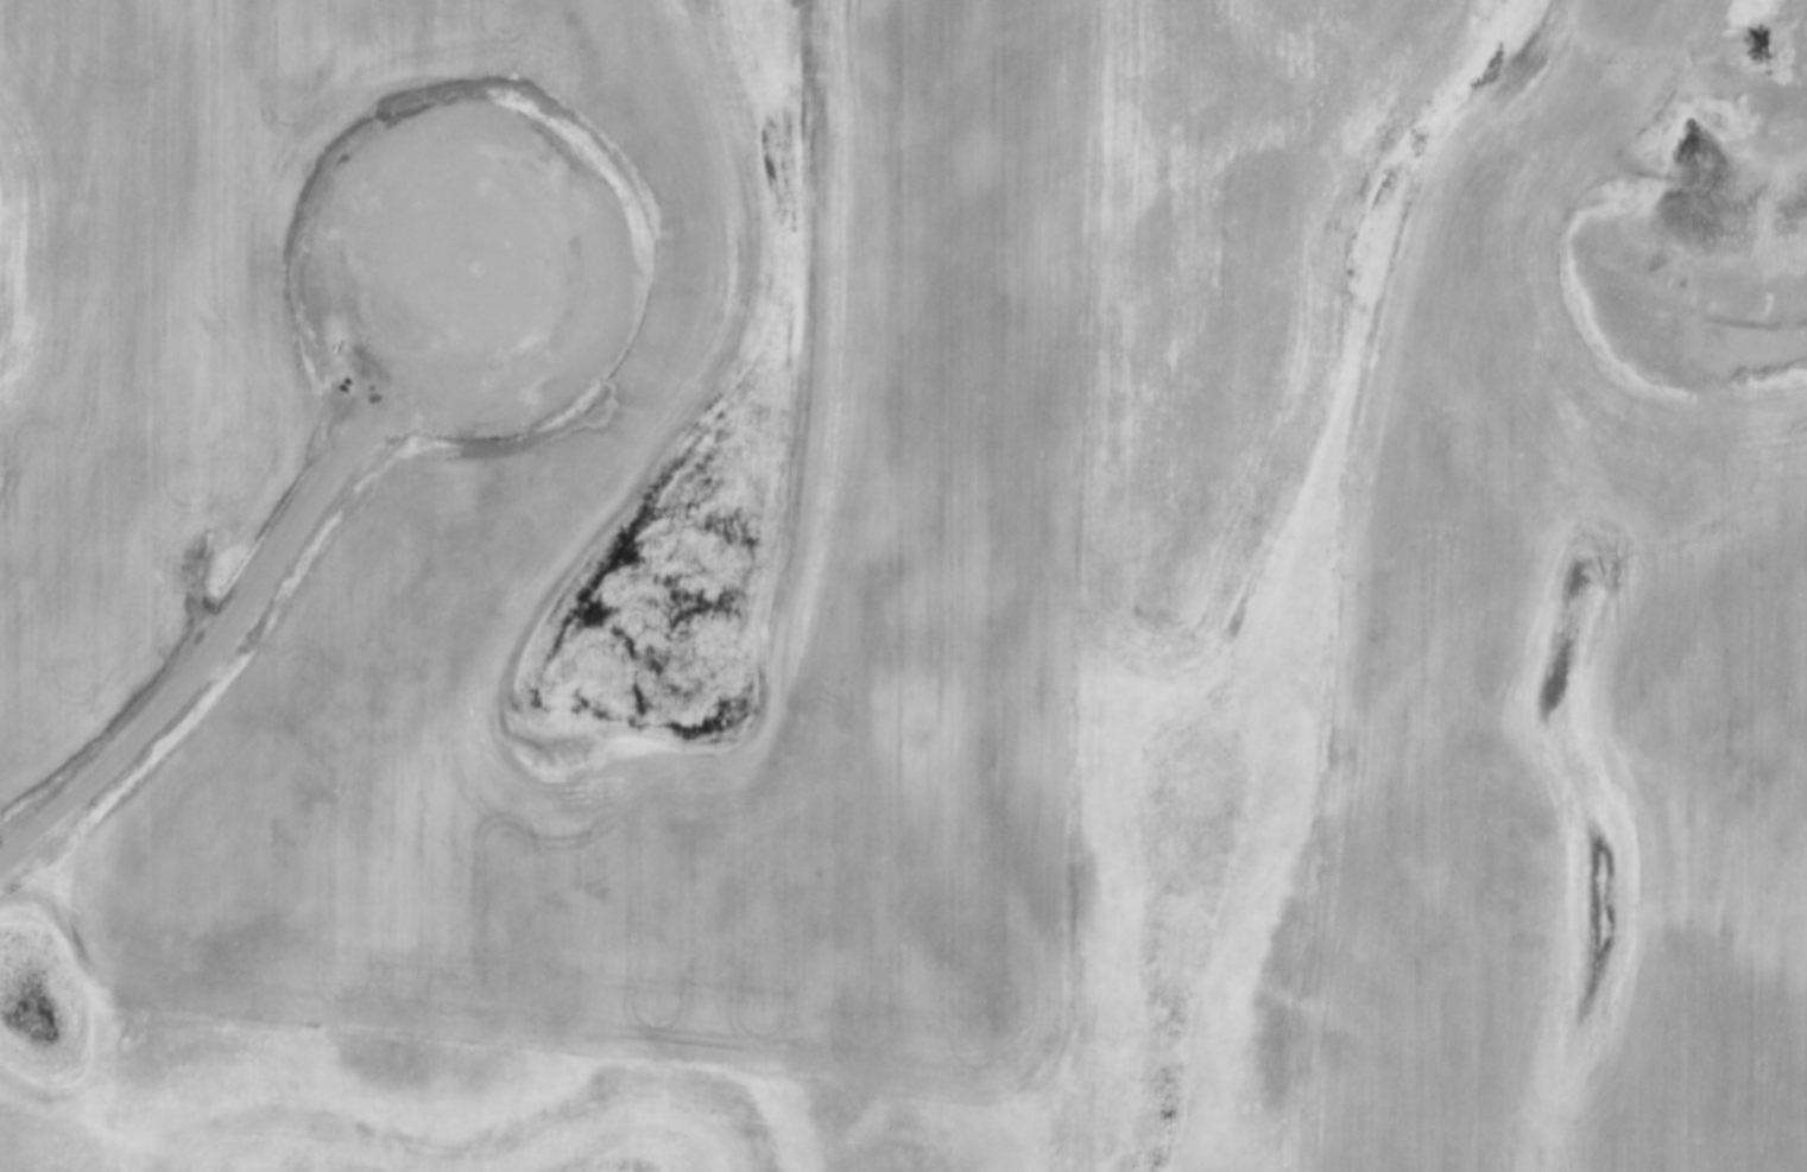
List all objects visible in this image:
wind turbine: (478, 271)
road: (1095, 585)

